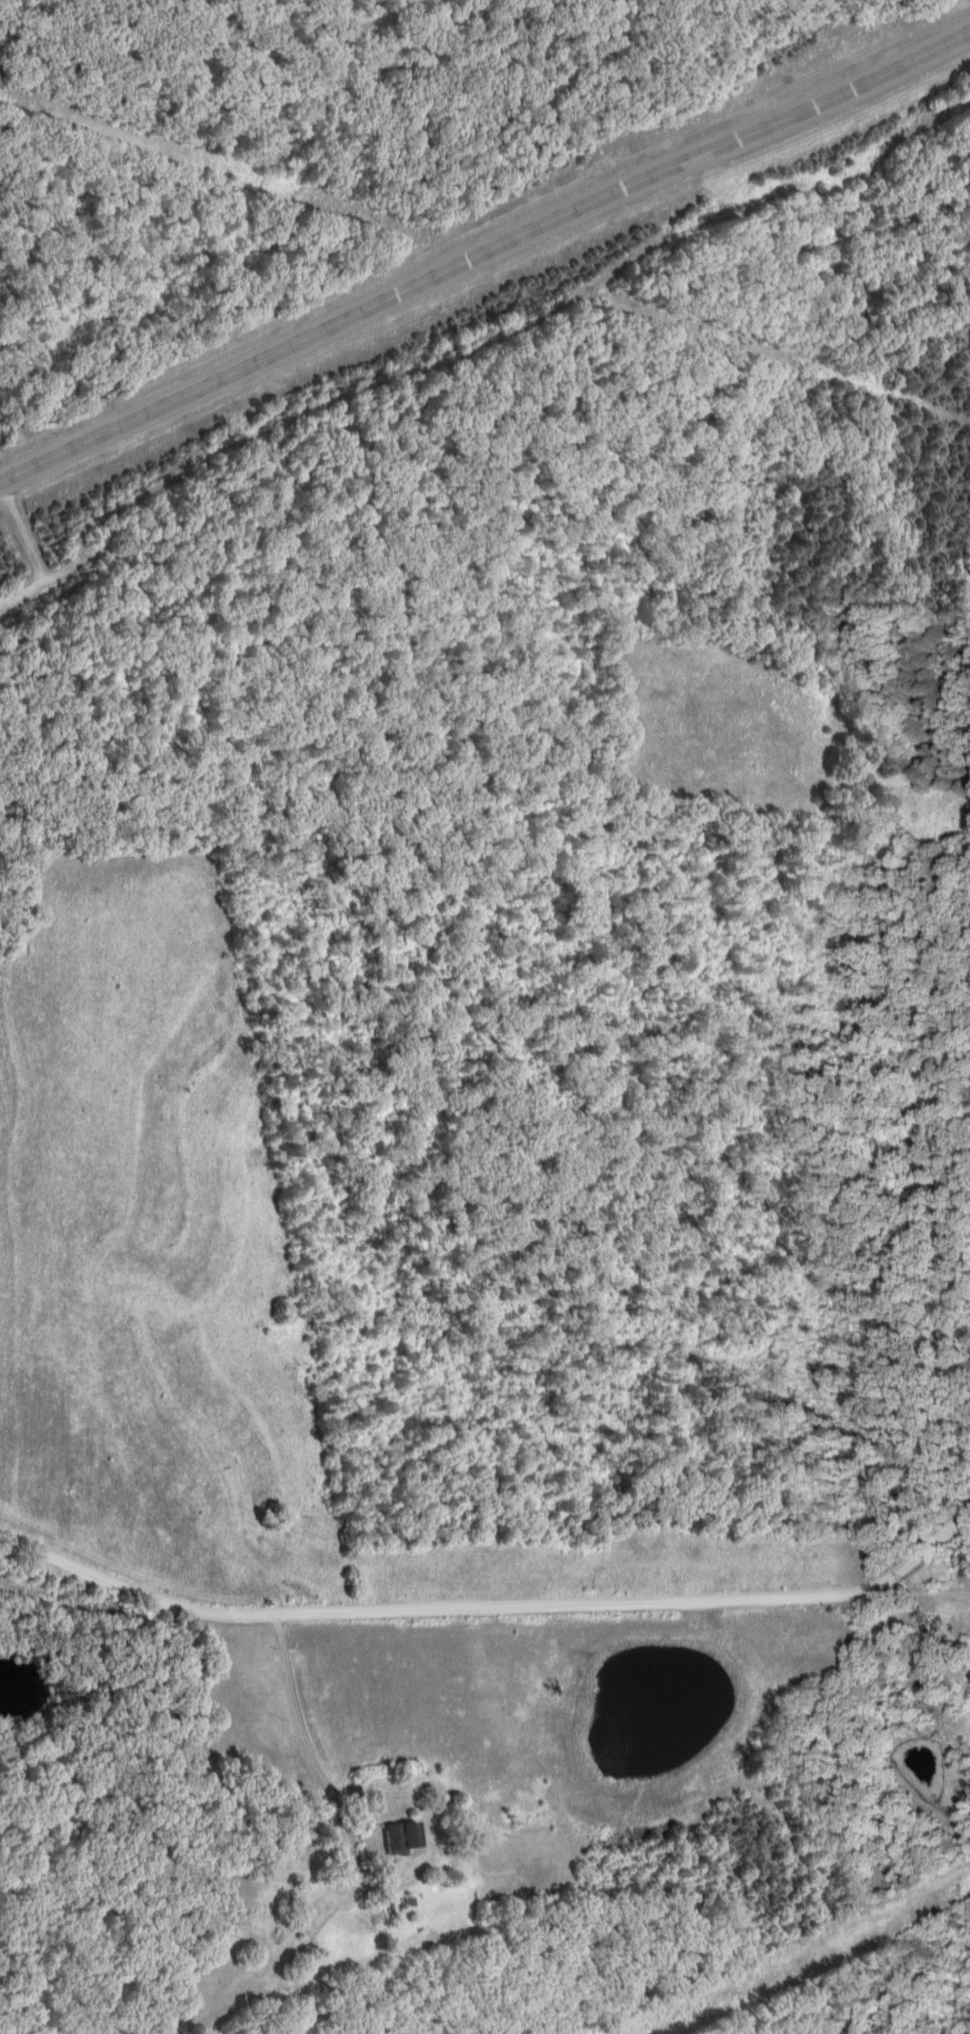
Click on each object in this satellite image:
road: (485, 256)
road: (948, 1555)
building: (965, 1564)
road: (496, 1605)
building: (405, 1838)

